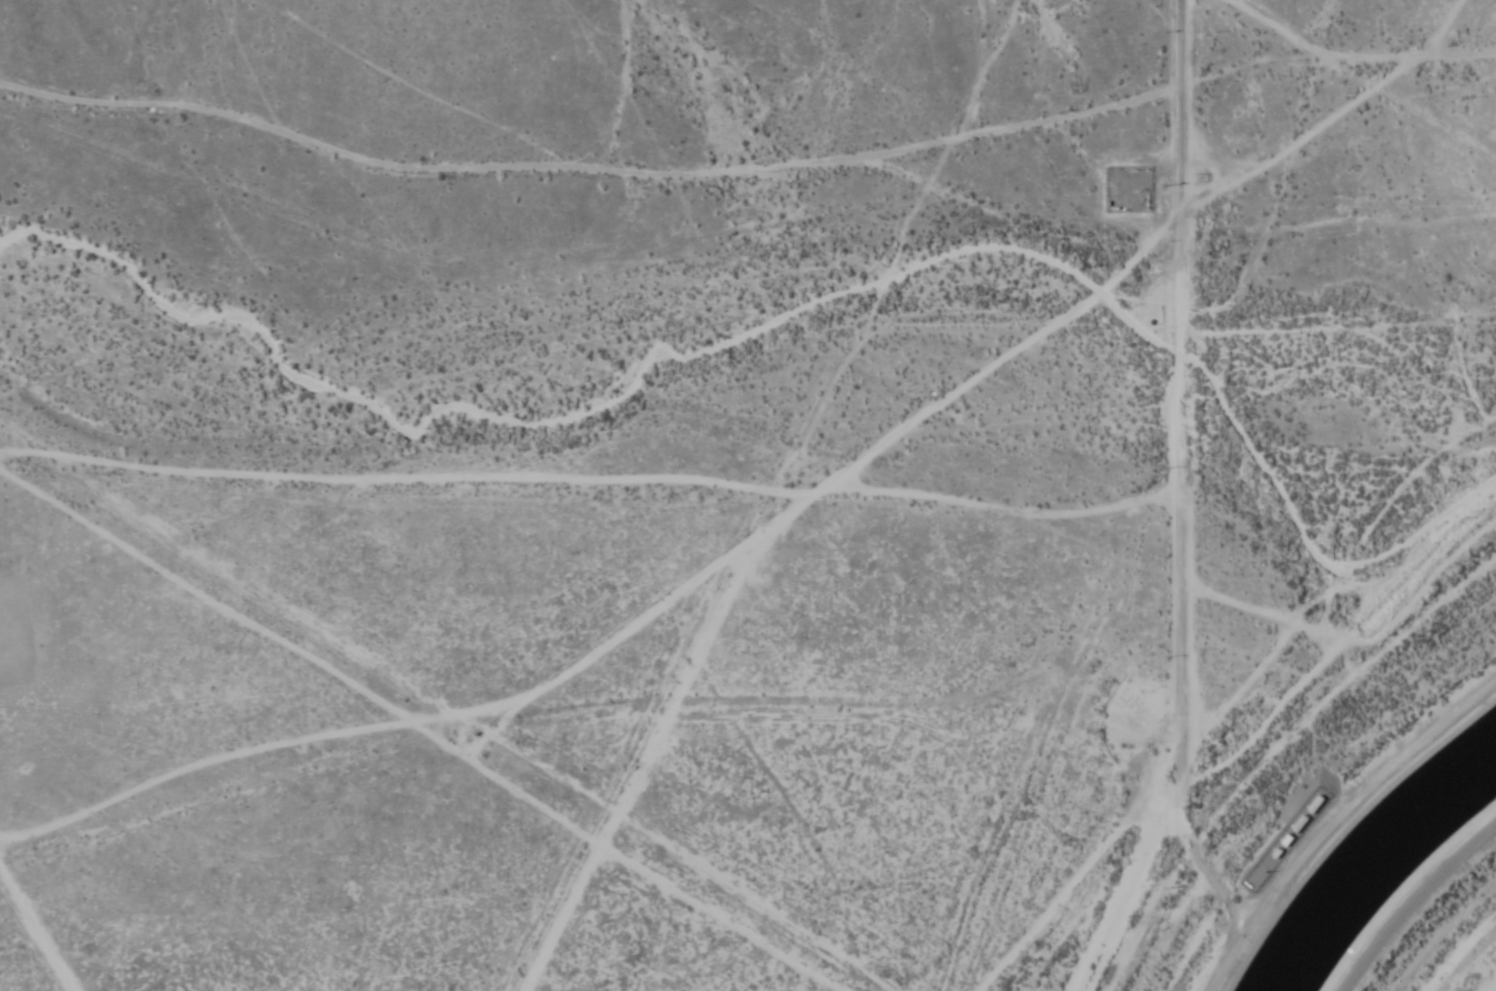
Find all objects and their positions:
road: (1351, 95)
road: (1176, 381)
road: (797, 495)
road: (561, 648)
road: (1331, 815)
road: (1130, 877)
road: (1414, 901)
road: (625, 916)

